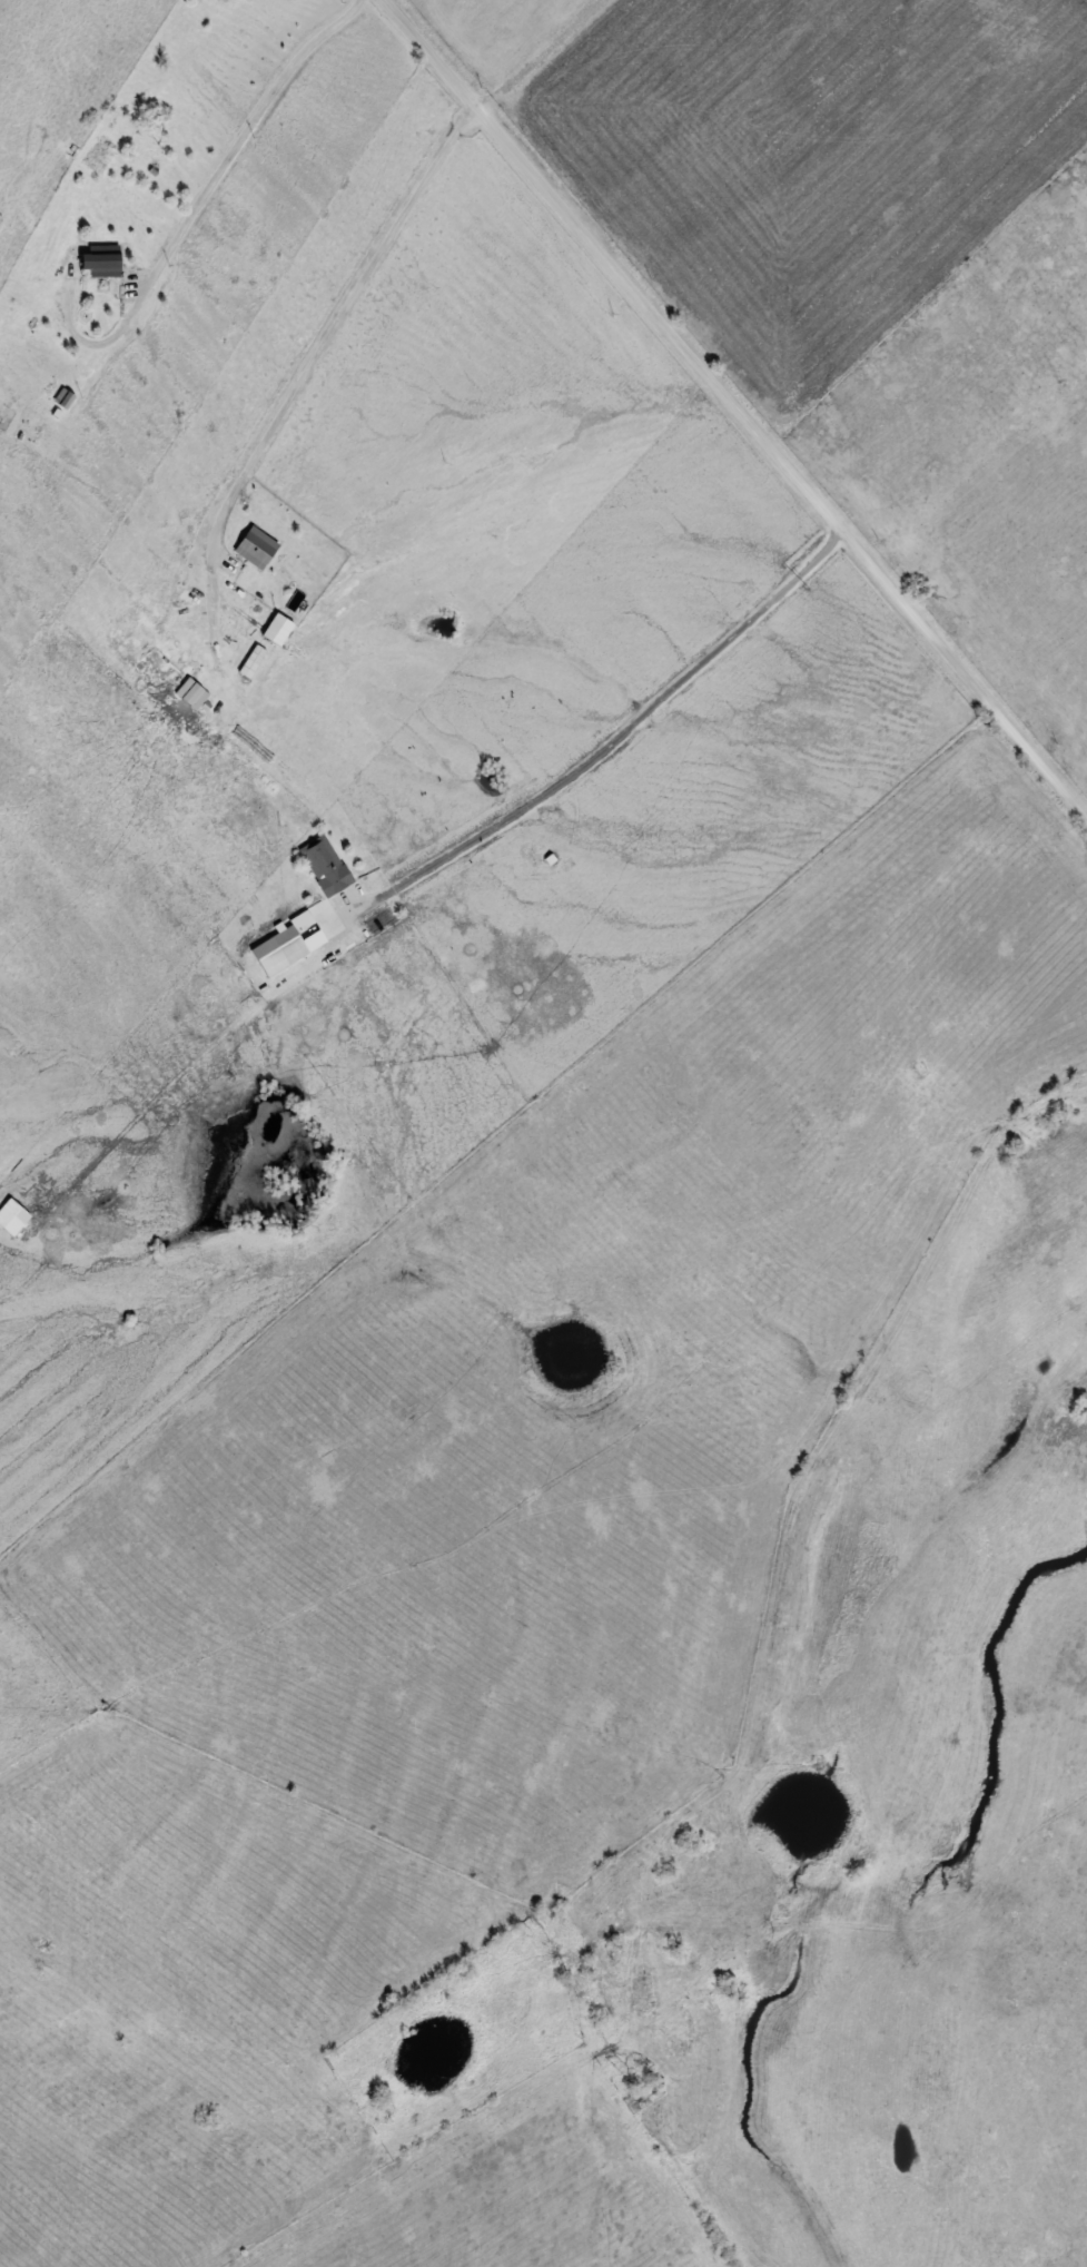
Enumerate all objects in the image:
road: (537, 53)
road: (202, 201)
building: (99, 265)
road: (349, 309)
building: (65, 401)
road: (739, 411)
building: (255, 548)
building: (190, 692)
road: (614, 745)
building: (323, 864)
building: (278, 950)

